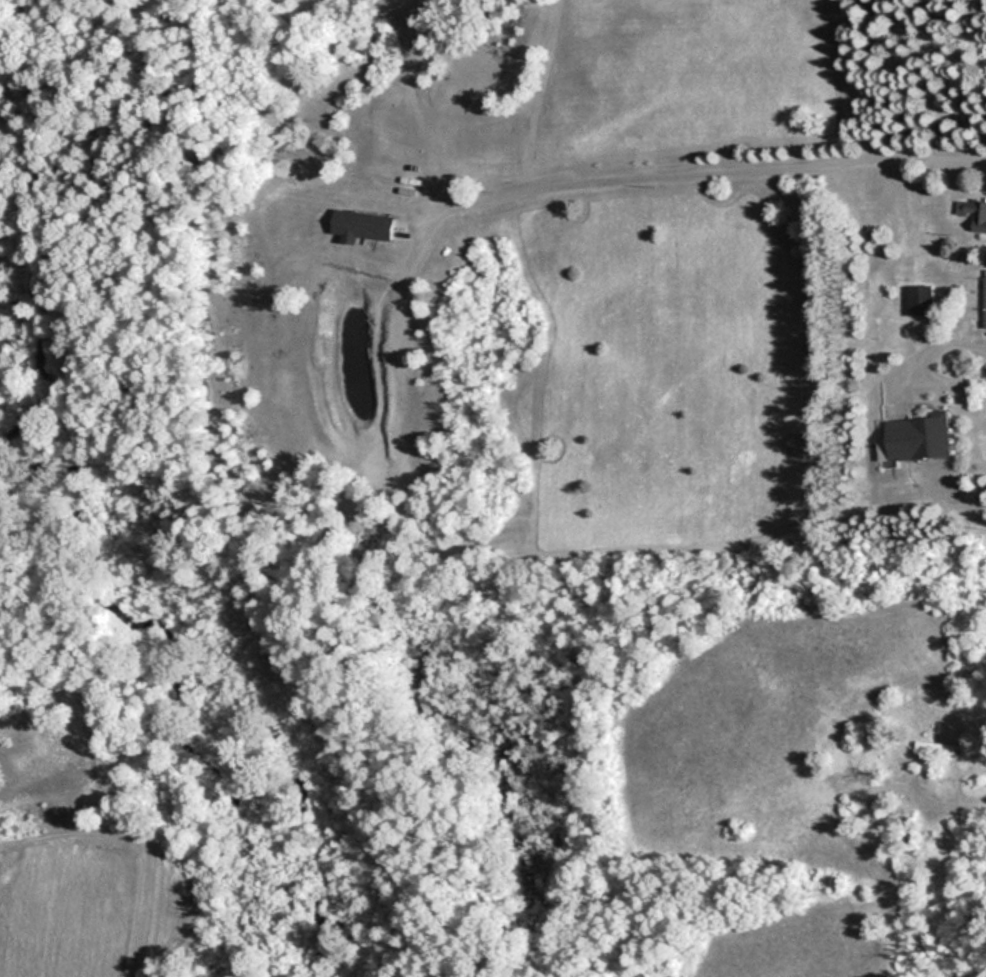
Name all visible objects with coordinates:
road: (713, 169)
building: (973, 212)
building: (366, 224)
building: (984, 297)
building: (922, 298)
building: (918, 436)
building: (937, 746)

